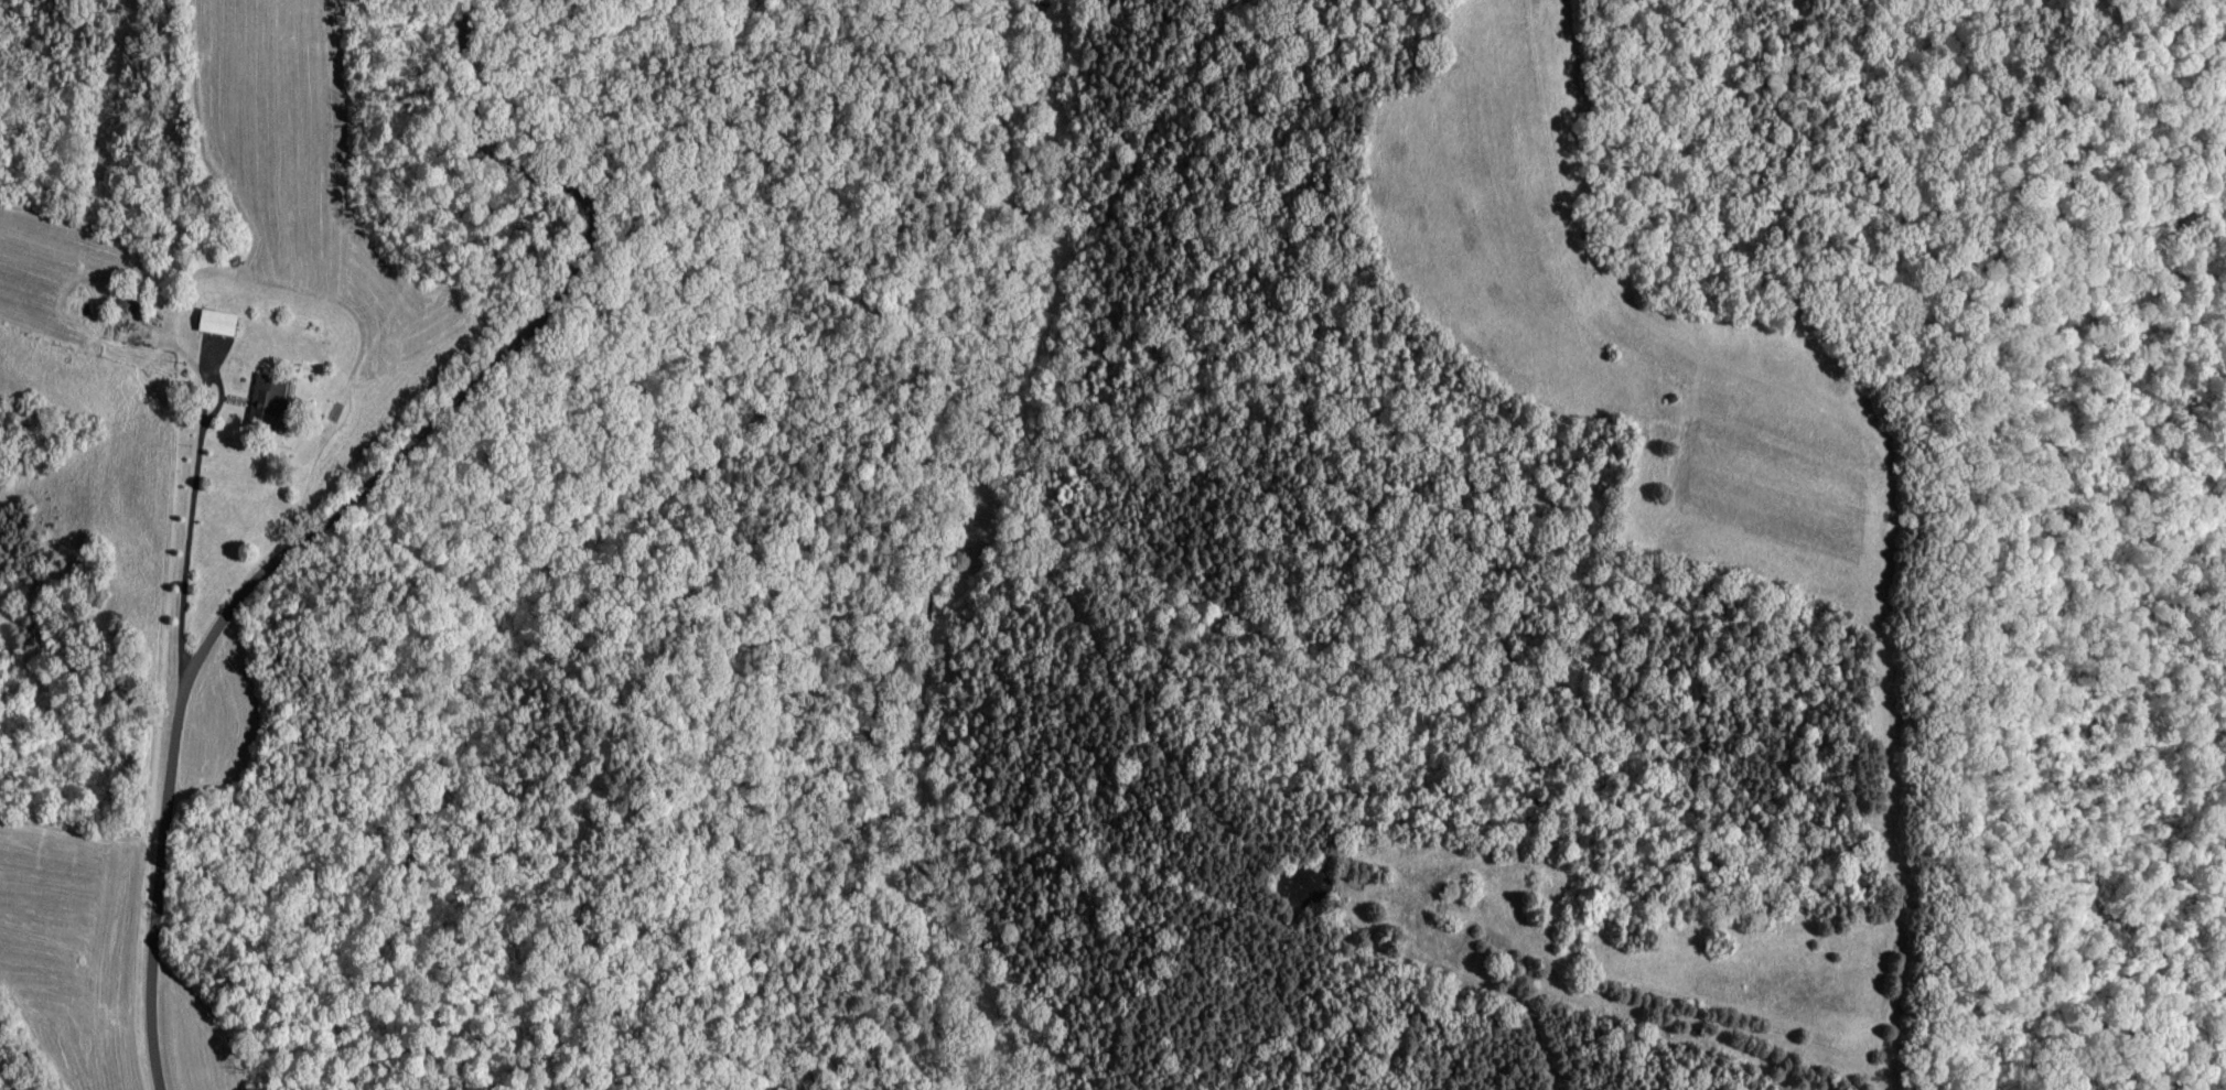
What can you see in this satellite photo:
crop: (1623, 324)
road: (194, 496)
road: (314, 512)
crop: (1650, 956)

